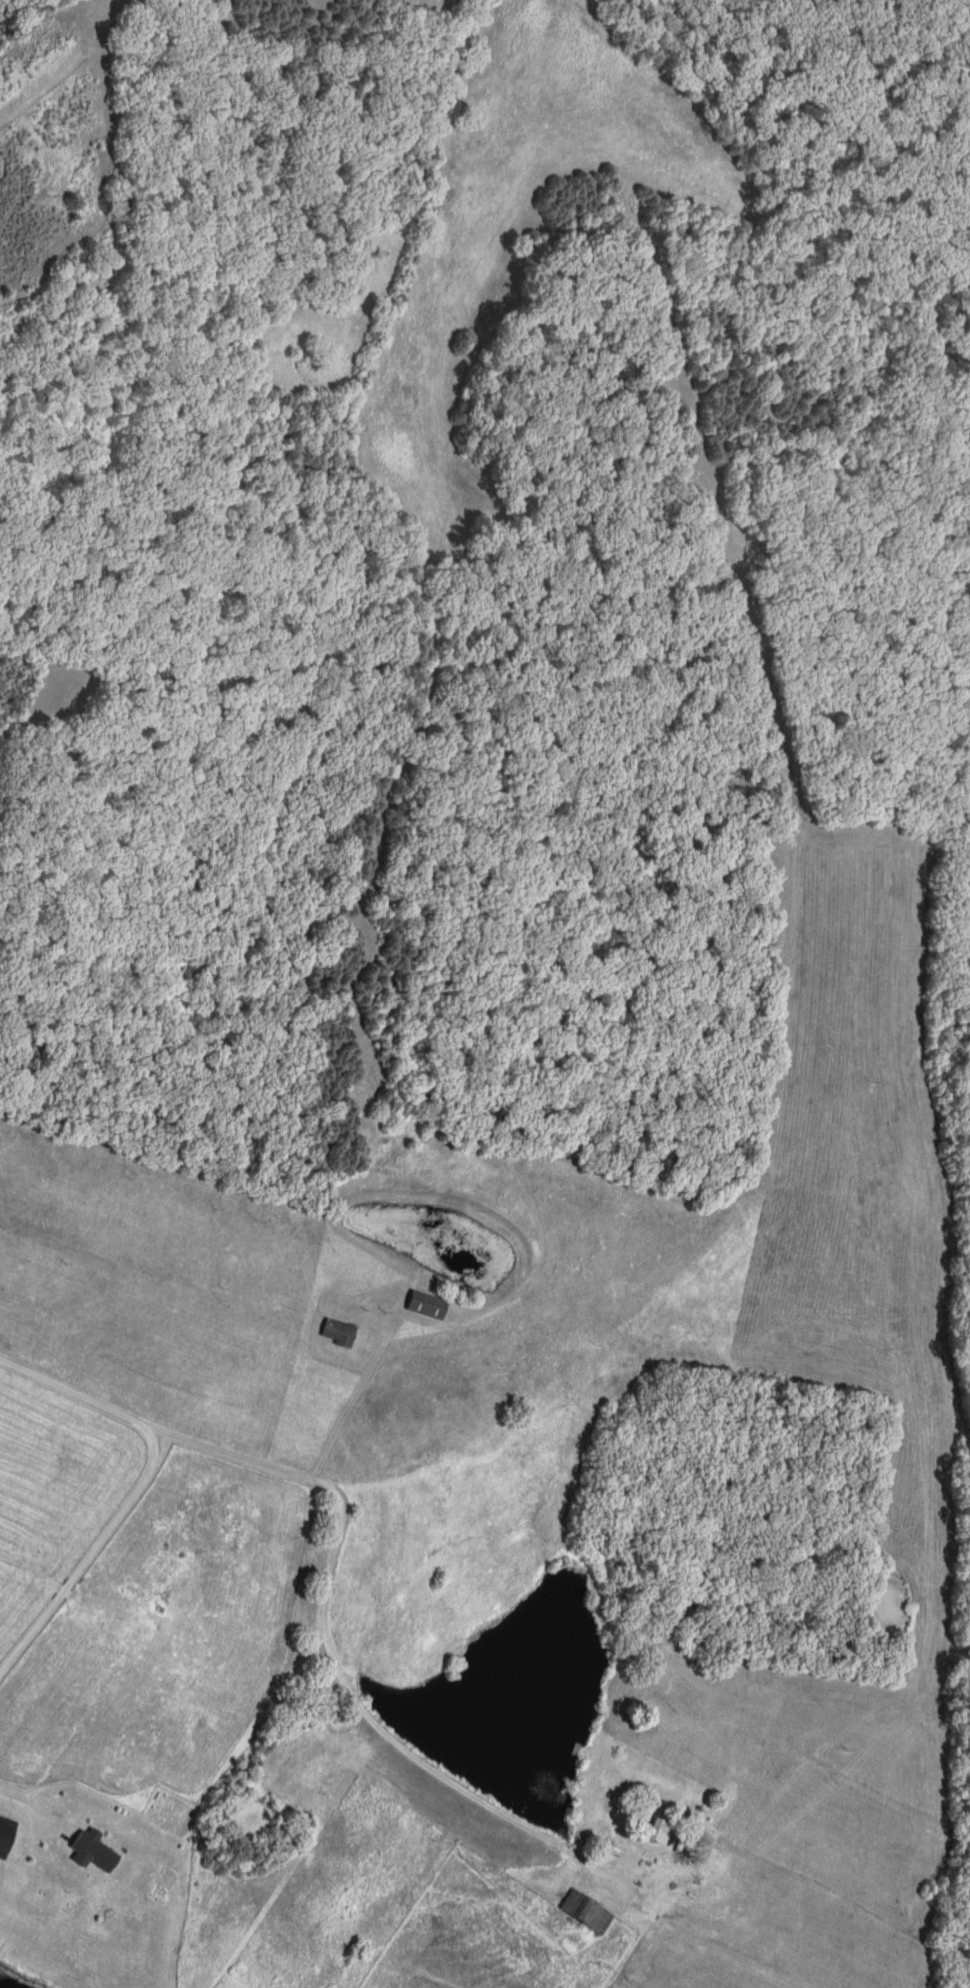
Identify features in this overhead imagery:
building: (426, 1306)
building: (338, 1334)
road: (329, 1573)
building: (659, 1831)
building: (6, 1835)
building: (601, 1851)
building: (586, 1912)

